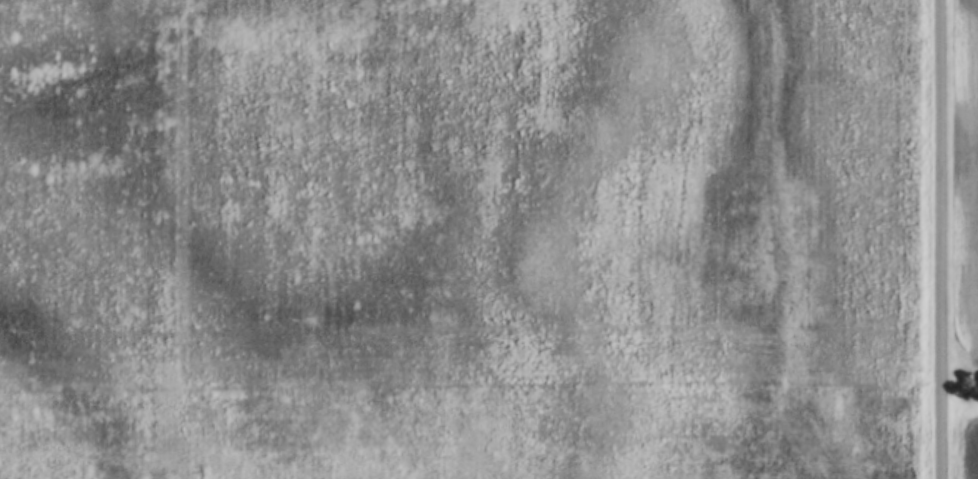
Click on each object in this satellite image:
road: (942, 239)

